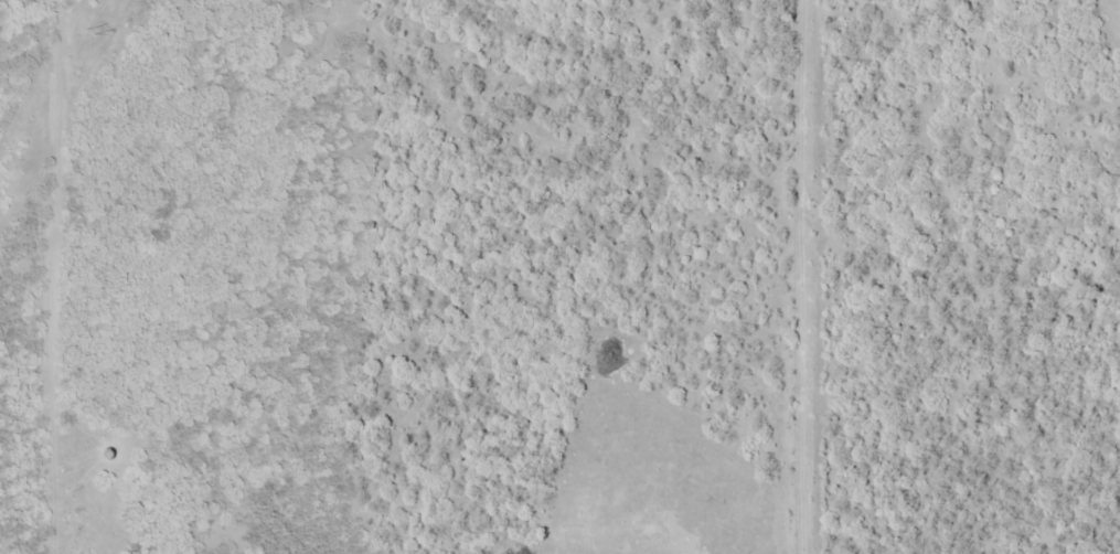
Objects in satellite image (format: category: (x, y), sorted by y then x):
power tower: (88, 32)
road: (45, 376)

